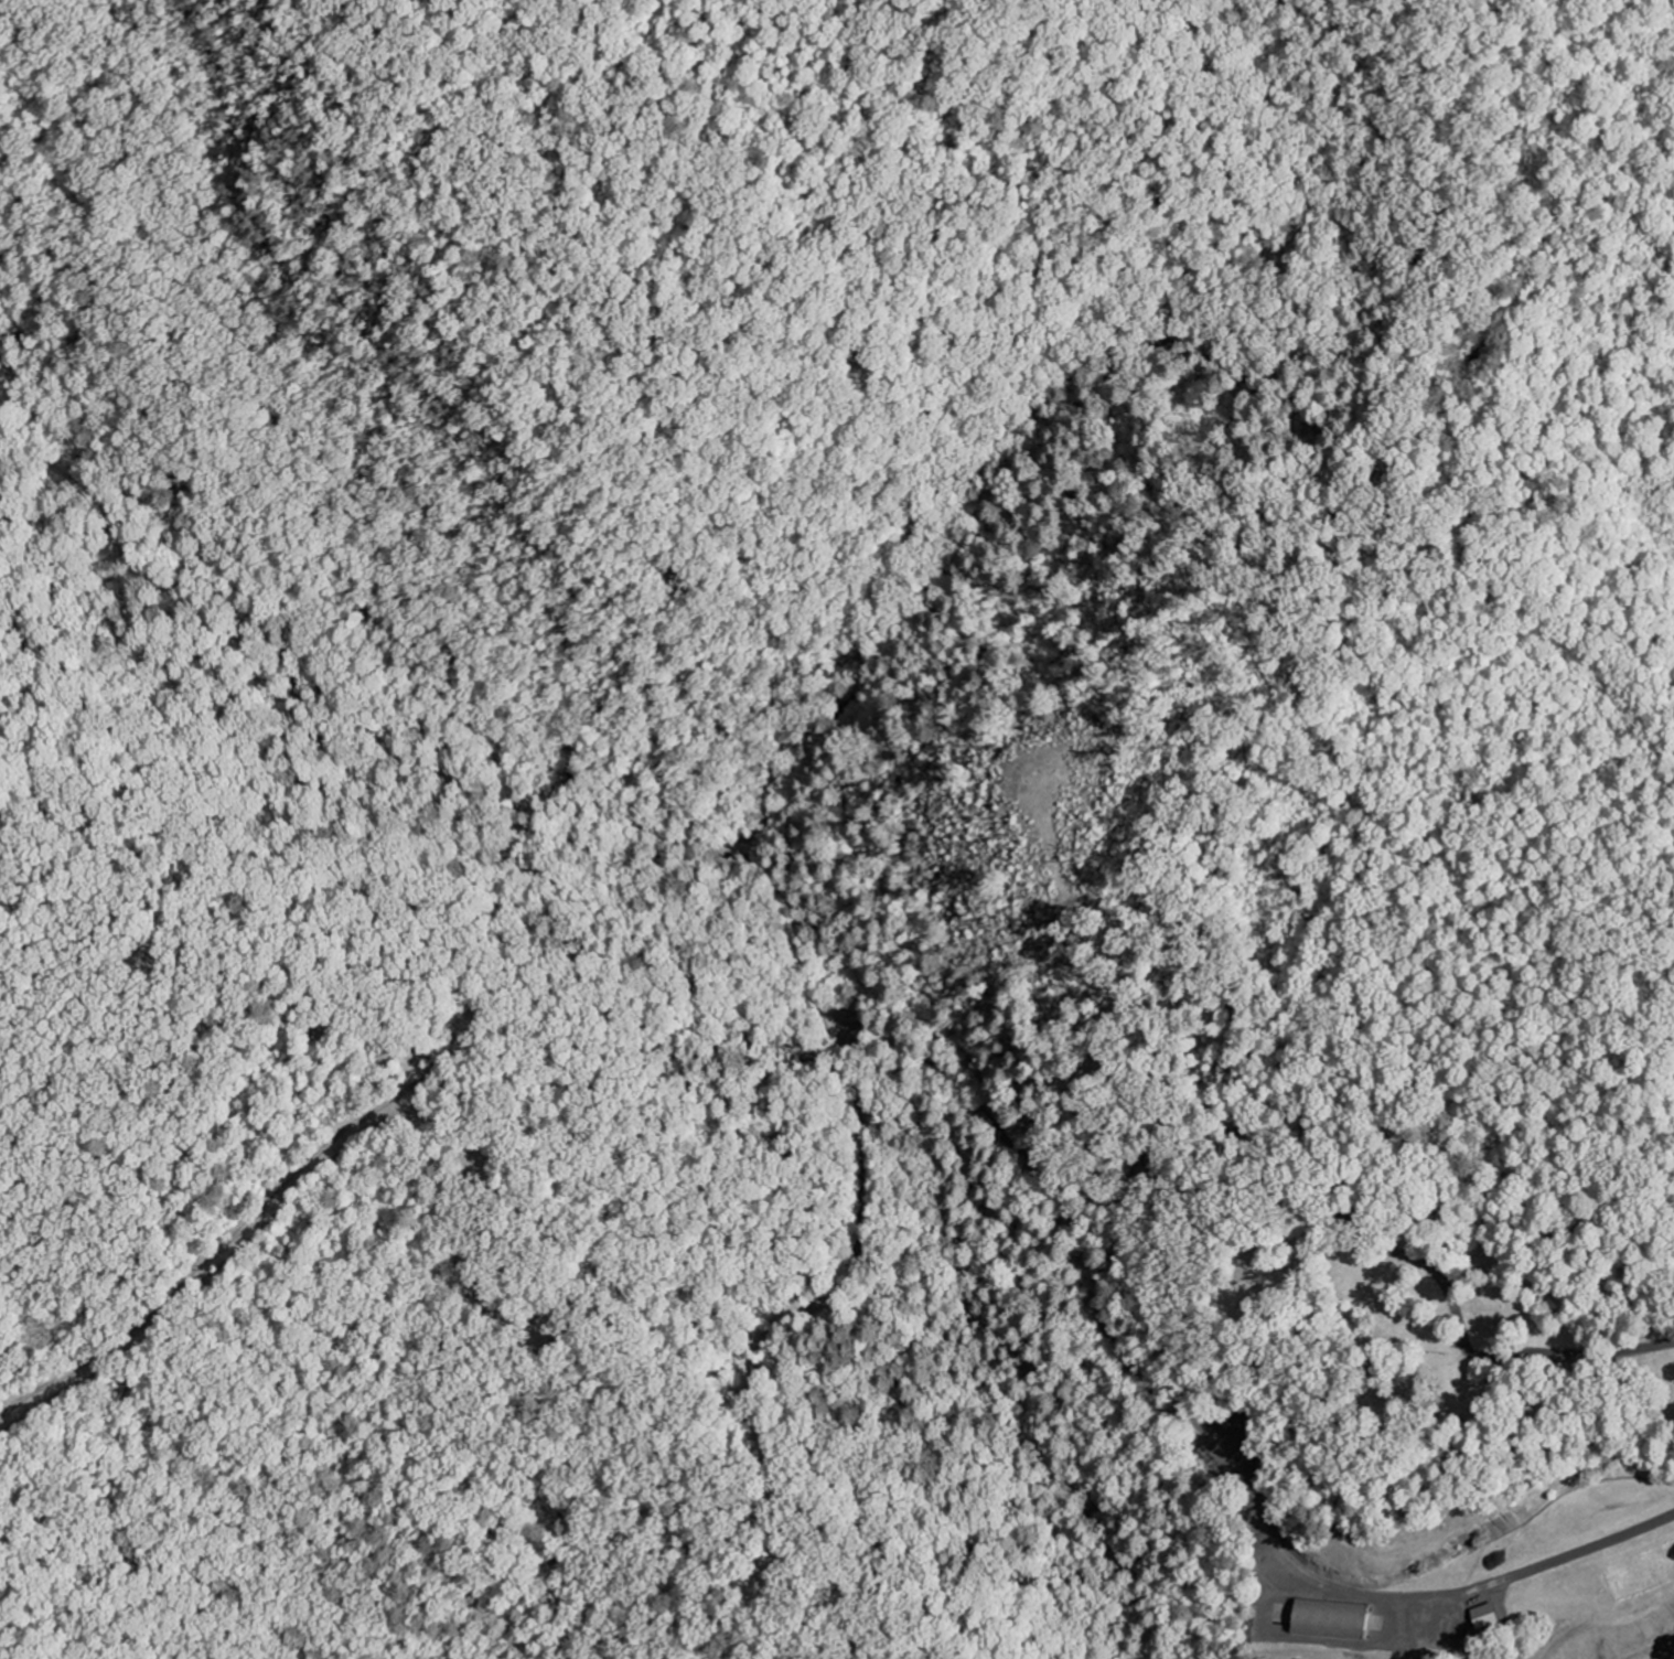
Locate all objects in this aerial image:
road: (1473, 1346)
road: (1415, 1601)
building: (1490, 1616)
building: (1337, 1620)

